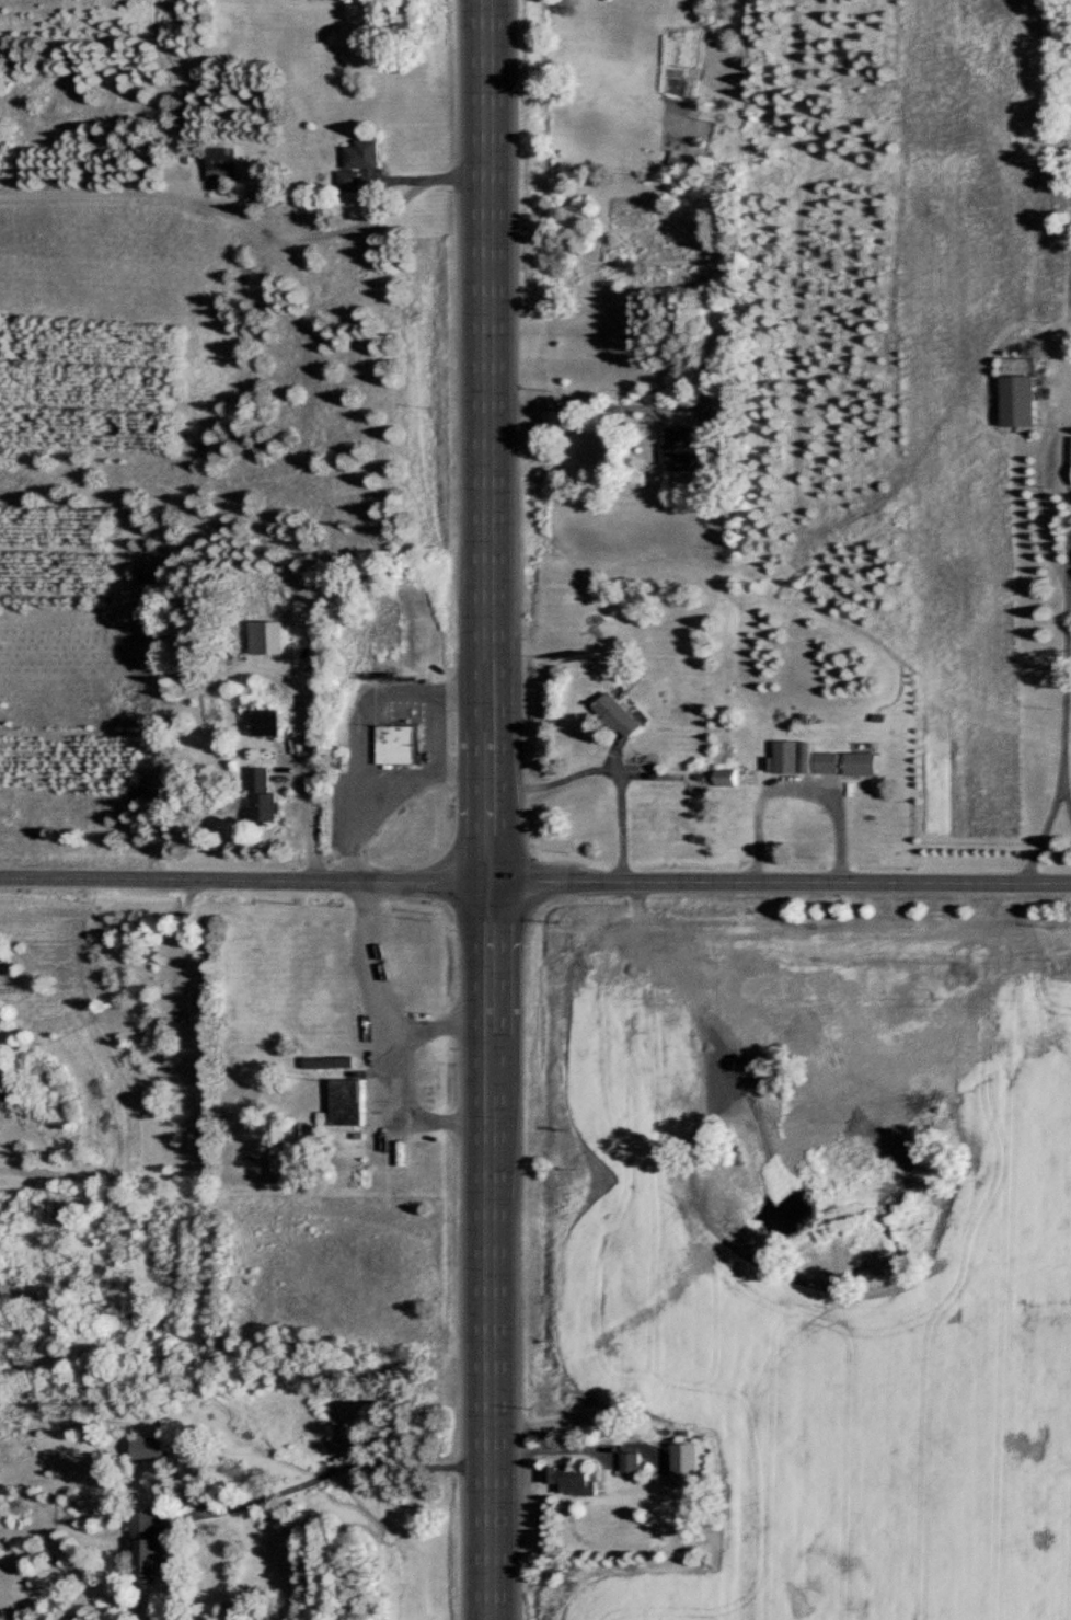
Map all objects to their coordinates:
building: (361, 154)
building: (219, 162)
road: (430, 174)
building: (348, 182)
building: (1017, 400)
road: (577, 402)
building: (678, 450)
road: (1066, 662)
building: (618, 715)
building: (266, 722)
road: (359, 732)
building: (395, 744)
building: (827, 762)
building: (860, 762)
road: (609, 769)
road: (423, 777)
building: (726, 777)
road: (797, 785)
road: (1066, 791)
building: (262, 795)
road: (492, 809)
road: (311, 816)
road: (245, 878)
road: (781, 883)
road: (388, 996)
building: (329, 1061)
building: (431, 1069)
building: (345, 1103)
road: (415, 1104)
building: (417, 1149)
building: (421, 1170)
building: (423, 1187)
park: (817, 1226)
building: (148, 1448)
building: (631, 1451)
road: (341, 1464)
building: (571, 1480)
building: (148, 1548)

